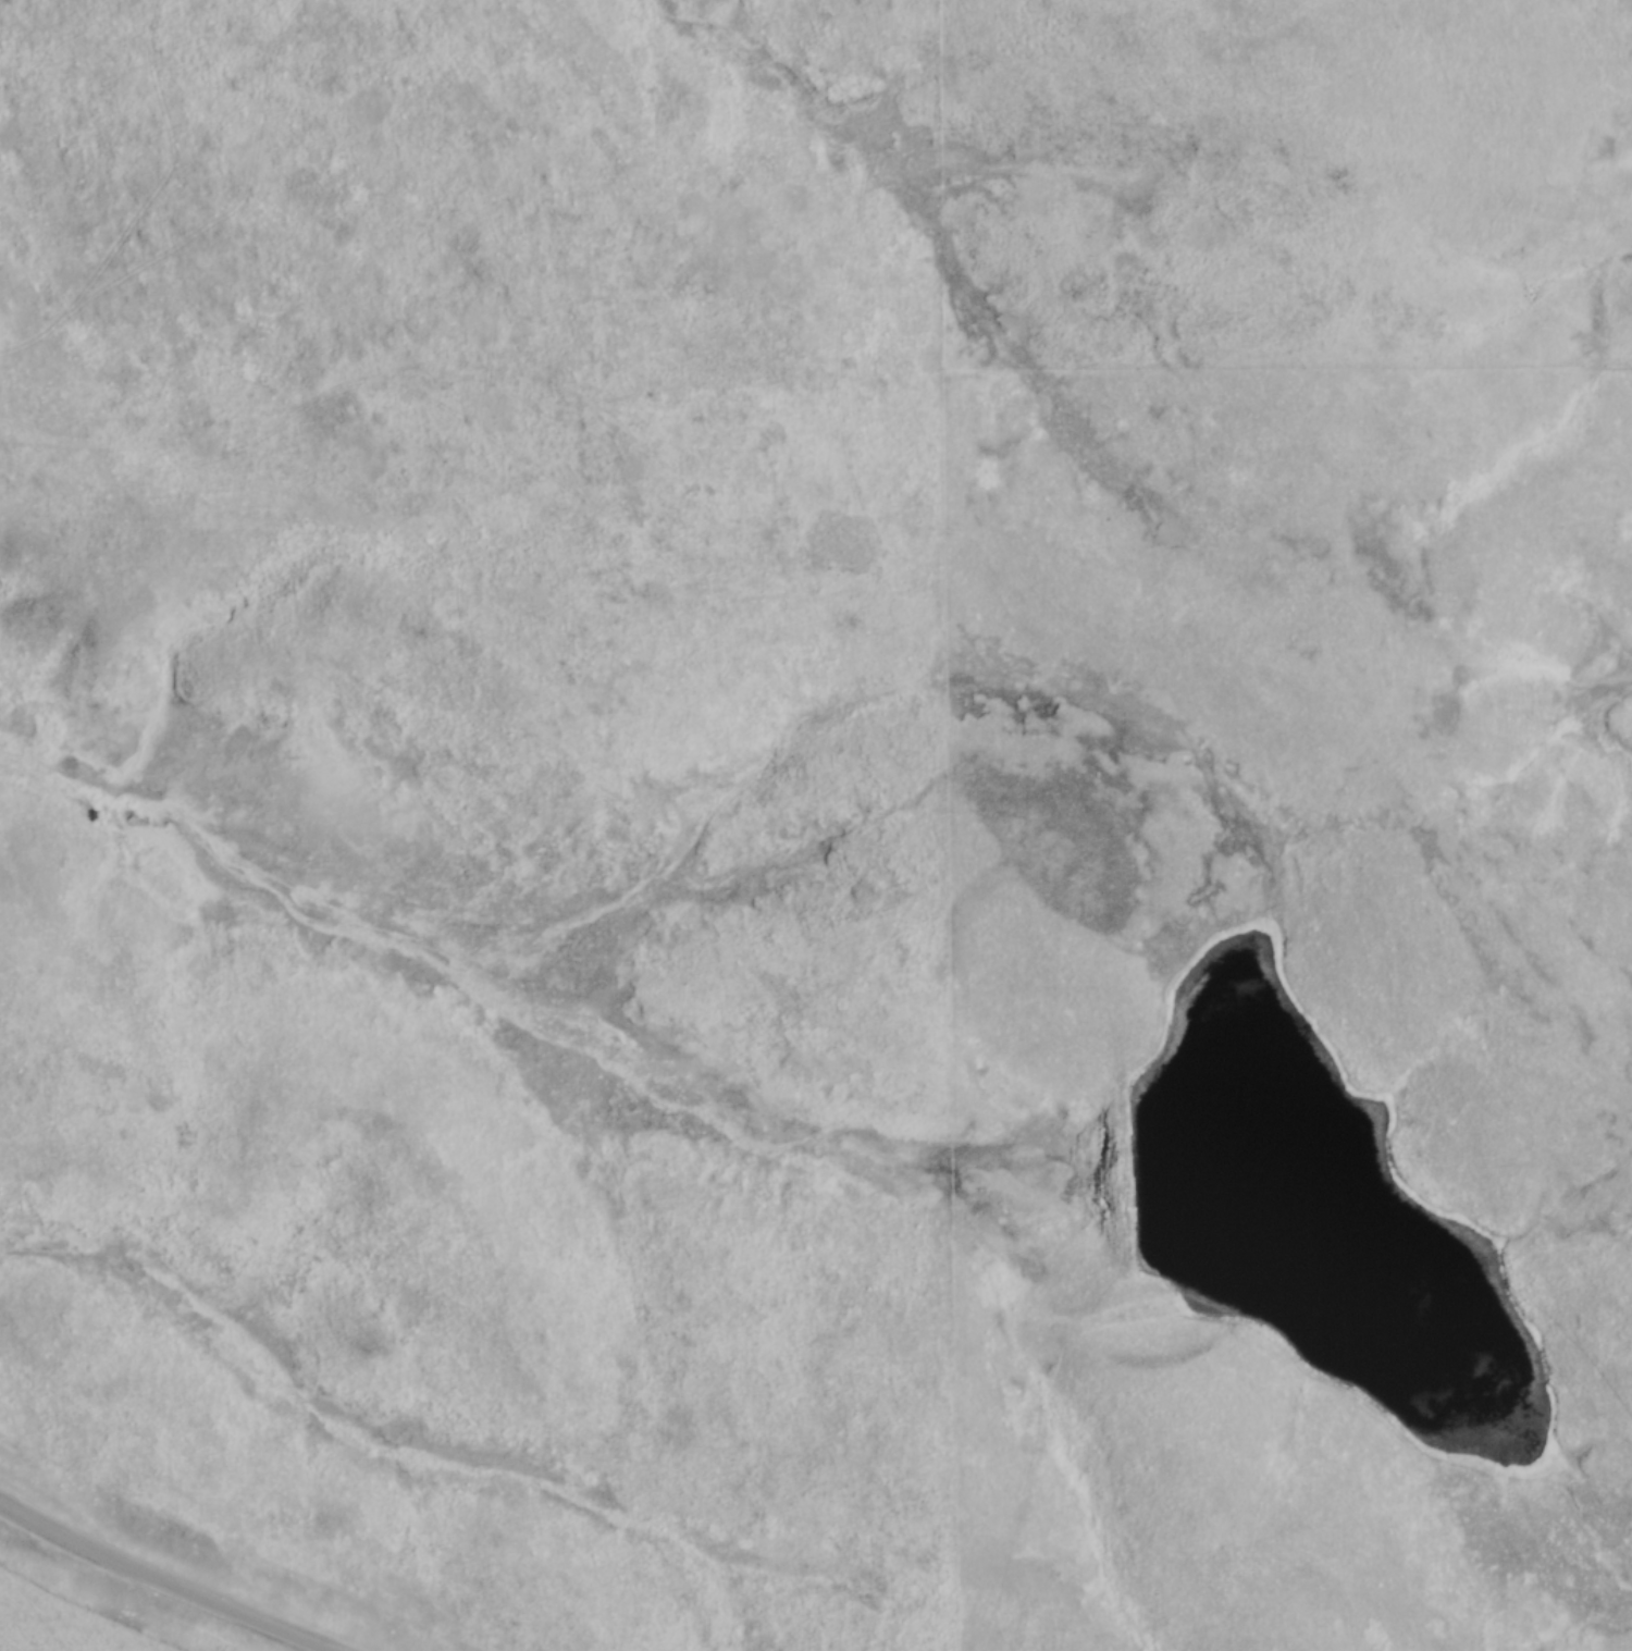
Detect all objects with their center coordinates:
road: (162, 1579)

